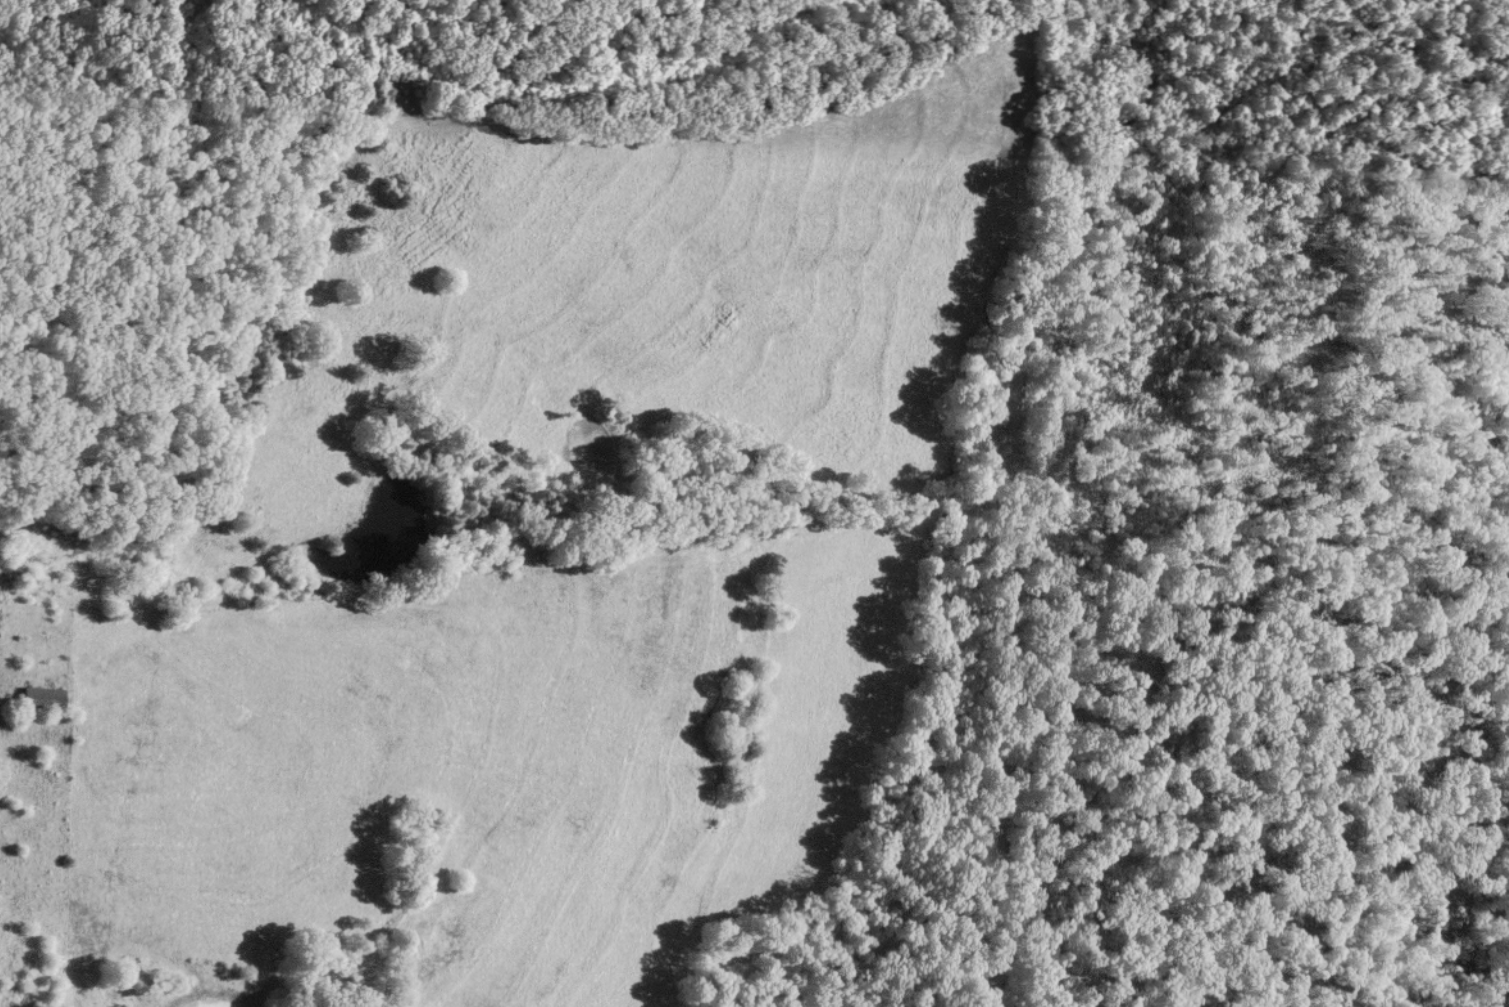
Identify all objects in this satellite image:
building: (41, 702)

